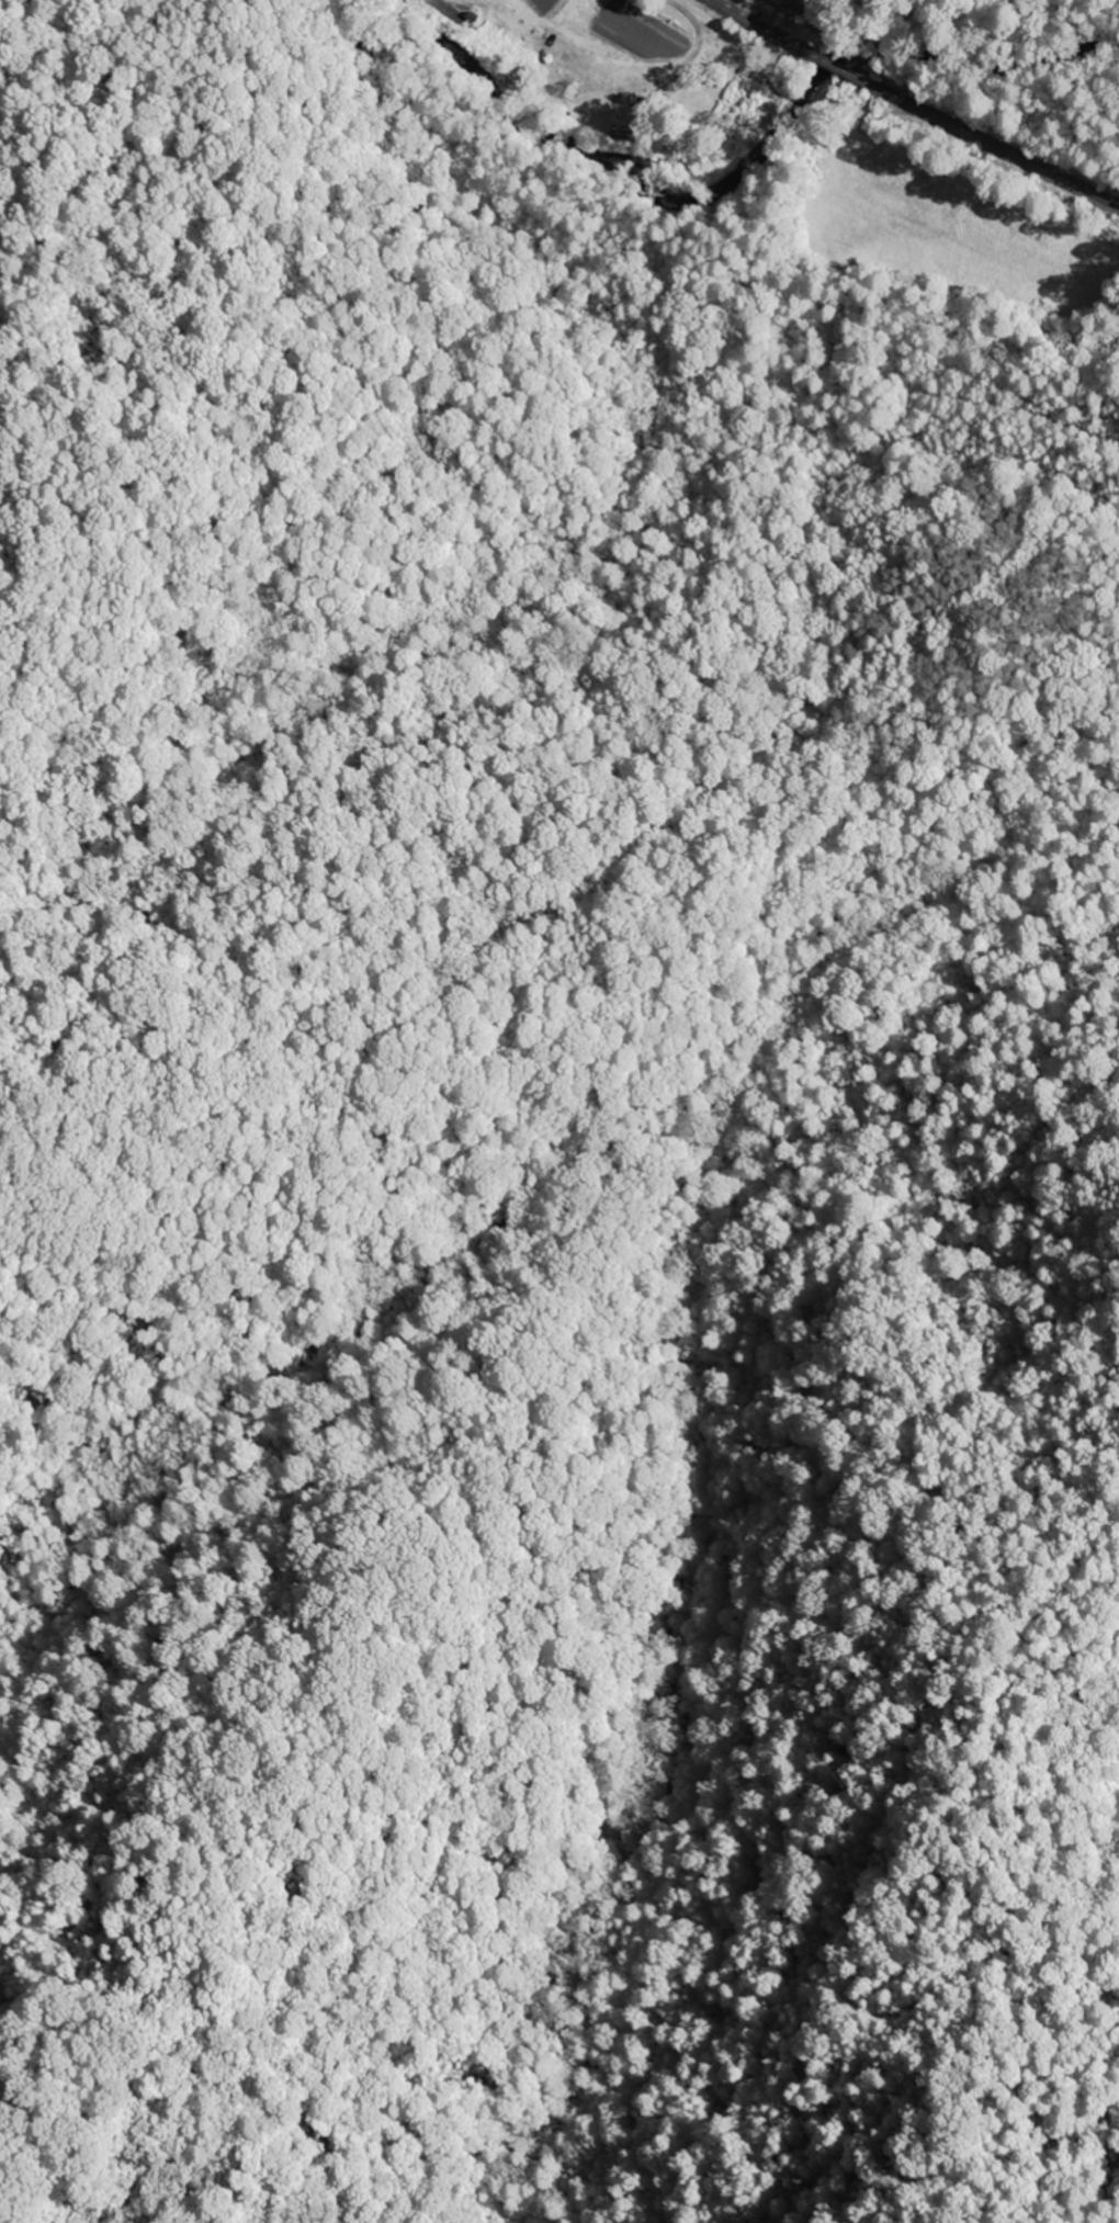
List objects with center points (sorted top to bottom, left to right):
building: (782, 4)
railway: (758, 26)
road: (694, 42)
railway: (855, 77)
railway: (1008, 153)

